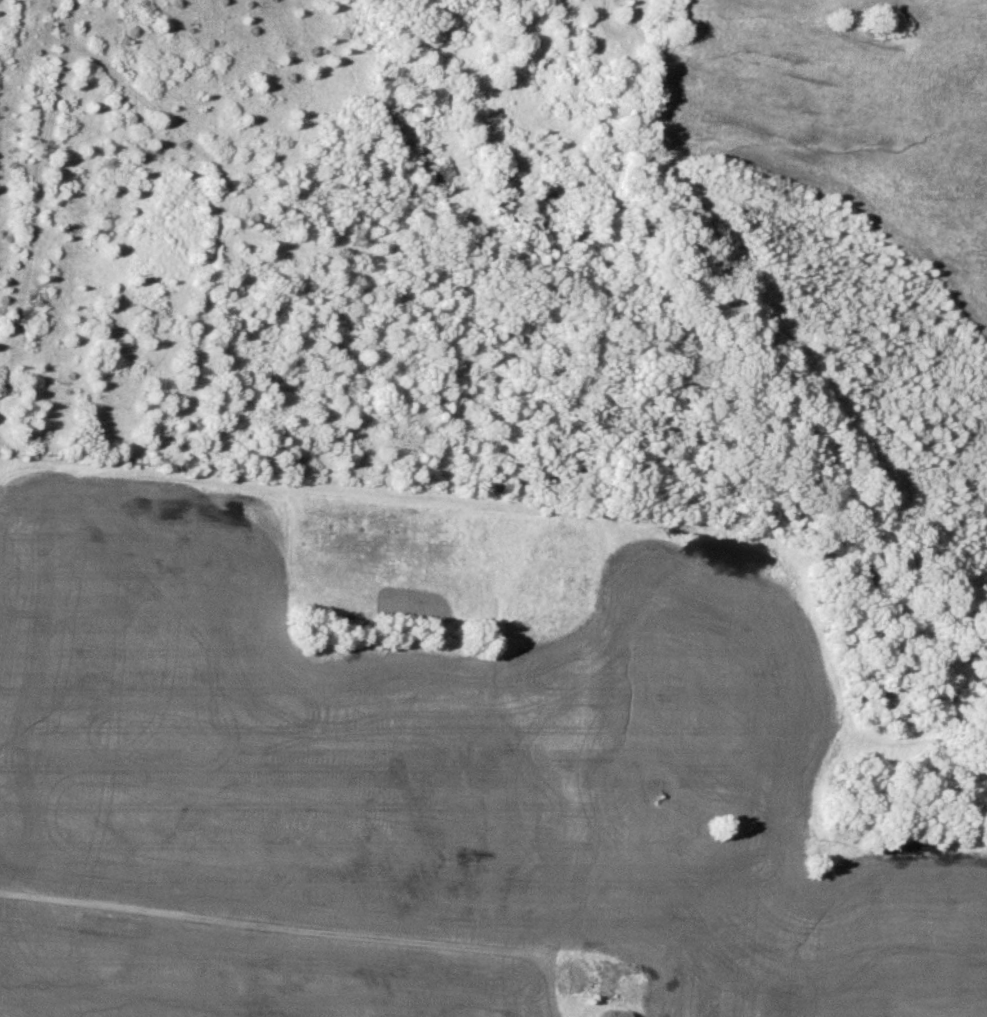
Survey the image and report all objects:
railway: (677, 354)

